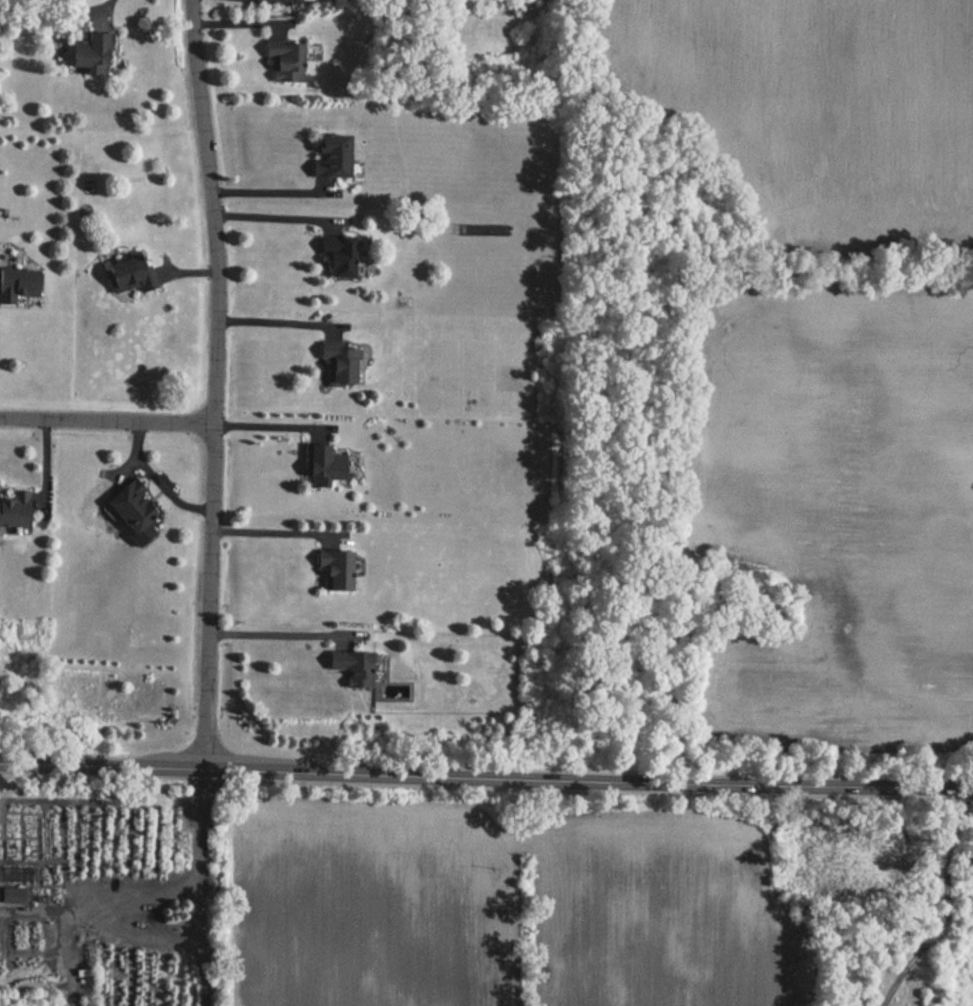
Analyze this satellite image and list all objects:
road: (106, 9)
building: (84, 52)
building: (283, 60)
building: (327, 155)
road: (273, 192)
road: (275, 217)
building: (334, 256)
building: (128, 273)
building: (17, 285)
road: (275, 323)
building: (332, 366)
road: (219, 383)
road: (272, 421)
road: (109, 422)
building: (319, 465)
building: (13, 508)
building: (132, 511)
road: (269, 531)
road: (279, 634)
building: (355, 670)
road: (486, 778)
road: (198, 828)
building: (9, 895)
road: (946, 904)
road: (102, 911)
road: (158, 930)
road: (197, 946)

